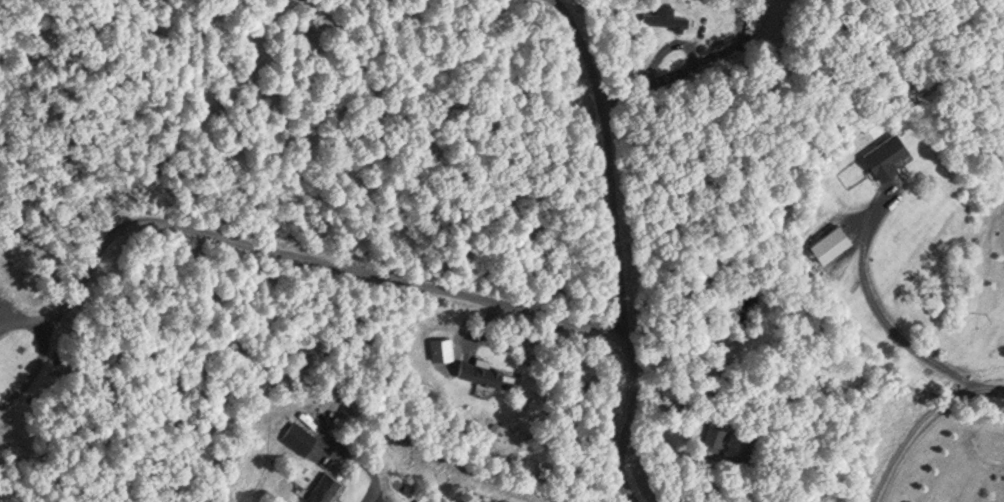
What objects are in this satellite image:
building: (663, 14)
building: (884, 151)
building: (829, 240)
road: (296, 248)
road: (616, 248)
road: (875, 310)
building: (479, 371)
road: (915, 416)
building: (297, 434)
building: (715, 435)

